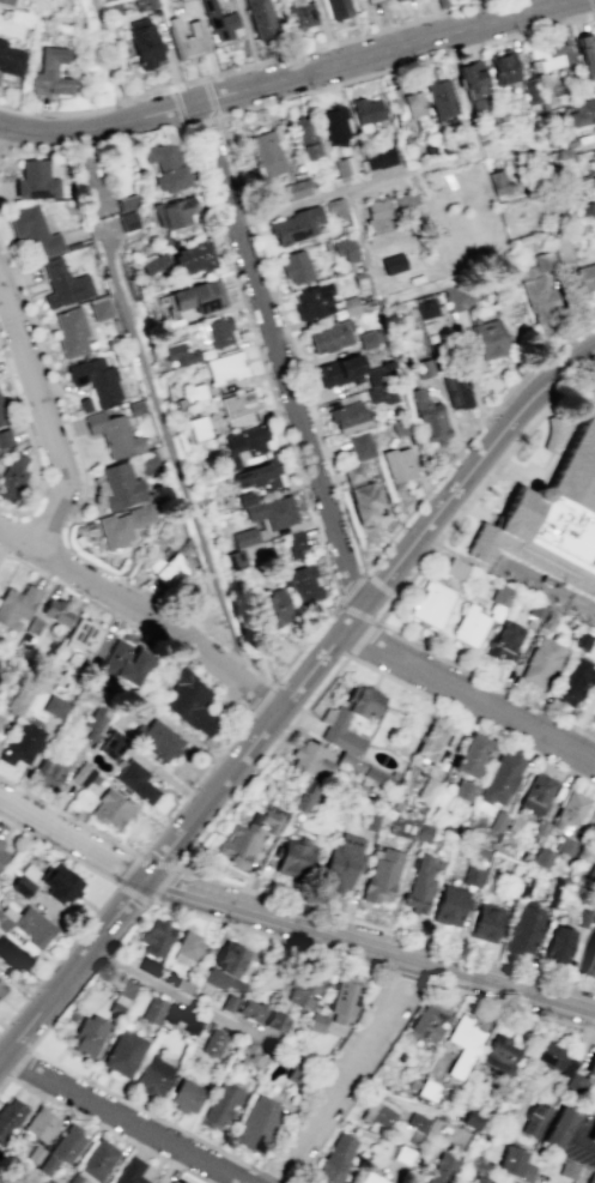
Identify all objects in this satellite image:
building: (362, 0)
building: (395, 0)
building: (399, 0)
building: (5, 2)
road: (593, 2)
building: (148, 5)
building: (339, 8)
building: (302, 16)
building: (262, 19)
building: (220, 22)
building: (187, 40)
building: (145, 44)
building: (550, 52)
building: (585, 56)
road: (114, 59)
building: (10, 60)
road: (247, 66)
building: (500, 68)
building: (50, 74)
road: (287, 79)
building: (470, 80)
building: (528, 90)
building: (437, 95)
building: (407, 101)
building: (365, 107)
building: (582, 110)
road: (201, 120)
building: (335, 125)
building: (304, 138)
building: (459, 140)
road: (14, 149)
building: (267, 150)
building: (594, 155)
road: (231, 157)
building: (380, 157)
building: (165, 163)
building: (344, 164)
building: (311, 175)
building: (36, 177)
building: (499, 180)
building: (593, 181)
road: (356, 185)
building: (296, 187)
building: (405, 199)
building: (126, 201)
building: (335, 205)
building: (583, 210)
building: (175, 211)
building: (378, 211)
building: (126, 218)
building: (296, 223)
road: (358, 227)
building: (34, 229)
building: (345, 247)
building: (563, 247)
building: (193, 254)
building: (544, 259)
building: (153, 260)
building: (394, 262)
building: (297, 265)
building: (338, 268)
building: (587, 273)
building: (359, 276)
building: (62, 284)
road: (429, 285)
building: (196, 292)
building: (539, 295)
building: (460, 296)
building: (312, 300)
building: (350, 303)
building: (427, 306)
building: (99, 308)
building: (219, 330)
building: (71, 332)
building: (330, 333)
building: (369, 337)
building: (490, 338)
road: (565, 342)
building: (180, 352)
road: (279, 356)
road: (262, 363)
building: (225, 366)
building: (424, 367)
building: (341, 368)
building: (382, 372)
building: (96, 378)
building: (456, 387)
building: (194, 392)
building: (382, 392)
building: (84, 403)
building: (238, 403)
building: (135, 406)
building: (2, 415)
road: (44, 416)
building: (350, 416)
building: (430, 418)
road: (68, 422)
building: (199, 425)
building: (114, 433)
building: (5, 437)
building: (247, 440)
building: (362, 443)
road: (30, 446)
road: (170, 447)
building: (146, 461)
building: (229, 461)
building: (399, 463)
road: (448, 464)
building: (259, 475)
building: (11, 476)
road: (461, 478)
building: (120, 484)
building: (364, 493)
building: (245, 496)
building: (273, 511)
building: (552, 520)
building: (125, 524)
building: (243, 536)
building: (296, 544)
building: (235, 557)
road: (63, 563)
building: (170, 569)
building: (456, 569)
building: (303, 584)
road: (352, 585)
road: (378, 585)
road: (400, 590)
building: (502, 596)
building: (432, 604)
building: (17, 605)
building: (267, 608)
road: (145, 609)
building: (56, 611)
road: (358, 612)
building: (496, 612)
building: (536, 612)
building: (548, 622)
building: (470, 627)
building: (83, 639)
road: (360, 639)
building: (505, 641)
building: (582, 641)
road: (304, 644)
building: (125, 663)
building: (542, 663)
building: (573, 682)
road: (472, 693)
building: (18, 700)
building: (192, 702)
building: (134, 704)
road: (260, 705)
building: (54, 706)
building: (1, 719)
road: (470, 720)
building: (96, 722)
building: (334, 723)
road: (239, 732)
building: (157, 740)
building: (23, 743)
building: (437, 743)
building: (114, 746)
building: (472, 755)
road: (261, 760)
building: (310, 760)
building: (348, 761)
building: (50, 769)
building: (84, 774)
building: (376, 777)
building: (502, 778)
building: (138, 781)
building: (426, 790)
building: (463, 791)
building: (538, 792)
building: (305, 795)
building: (113, 808)
building: (572, 809)
building: (496, 820)
building: (370, 821)
building: (409, 828)
building: (593, 834)
building: (248, 837)
road: (72, 839)
building: (0, 841)
road: (174, 844)
building: (566, 846)
building: (2, 855)
building: (293, 857)
building: (542, 858)
building: (340, 863)
building: (590, 873)
building: (381, 875)
building: (470, 875)
building: (59, 883)
building: (419, 885)
road: (150, 897)
road: (99, 905)
building: (450, 905)
road: (169, 906)
building: (593, 918)
building: (584, 919)
building: (485, 922)
building: (28, 924)
building: (524, 928)
road: (383, 929)
building: (156, 937)
road: (370, 943)
building: (557, 944)
building: (188, 946)
building: (13, 955)
building: (590, 961)
building: (147, 966)
building: (225, 967)
road: (408, 977)
building: (1, 986)
building: (125, 988)
building: (305, 990)
road: (180, 996)
building: (344, 1000)
building: (115, 1009)
building: (151, 1009)
building: (250, 1009)
road: (408, 1009)
building: (182, 1019)
building: (275, 1021)
building: (315, 1021)
building: (427, 1025)
building: (87, 1036)
building: (212, 1043)
building: (462, 1044)
building: (122, 1054)
building: (500, 1056)
building: (250, 1057)
building: (551, 1060)
road: (17, 1062)
building: (591, 1066)
road: (346, 1069)
building: (152, 1076)
building: (411, 1082)
building: (576, 1084)
building: (426, 1090)
building: (594, 1092)
building: (186, 1096)
building: (219, 1106)
building: (376, 1112)
building: (8, 1116)
road: (127, 1117)
building: (534, 1118)
building: (472, 1119)
building: (414, 1121)
building: (40, 1123)
building: (256, 1123)
road: (103, 1127)
building: (563, 1128)
building: (593, 1137)
road: (581, 1141)
building: (61, 1149)
building: (34, 1153)
building: (401, 1154)
building: (335, 1159)
building: (96, 1161)
building: (514, 1164)
building: (441, 1169)
building: (567, 1169)
building: (129, 1171)
road: (262, 1172)
building: (590, 1177)
building: (369, 1178)
building: (480, 1179)
building: (177, 1181)

